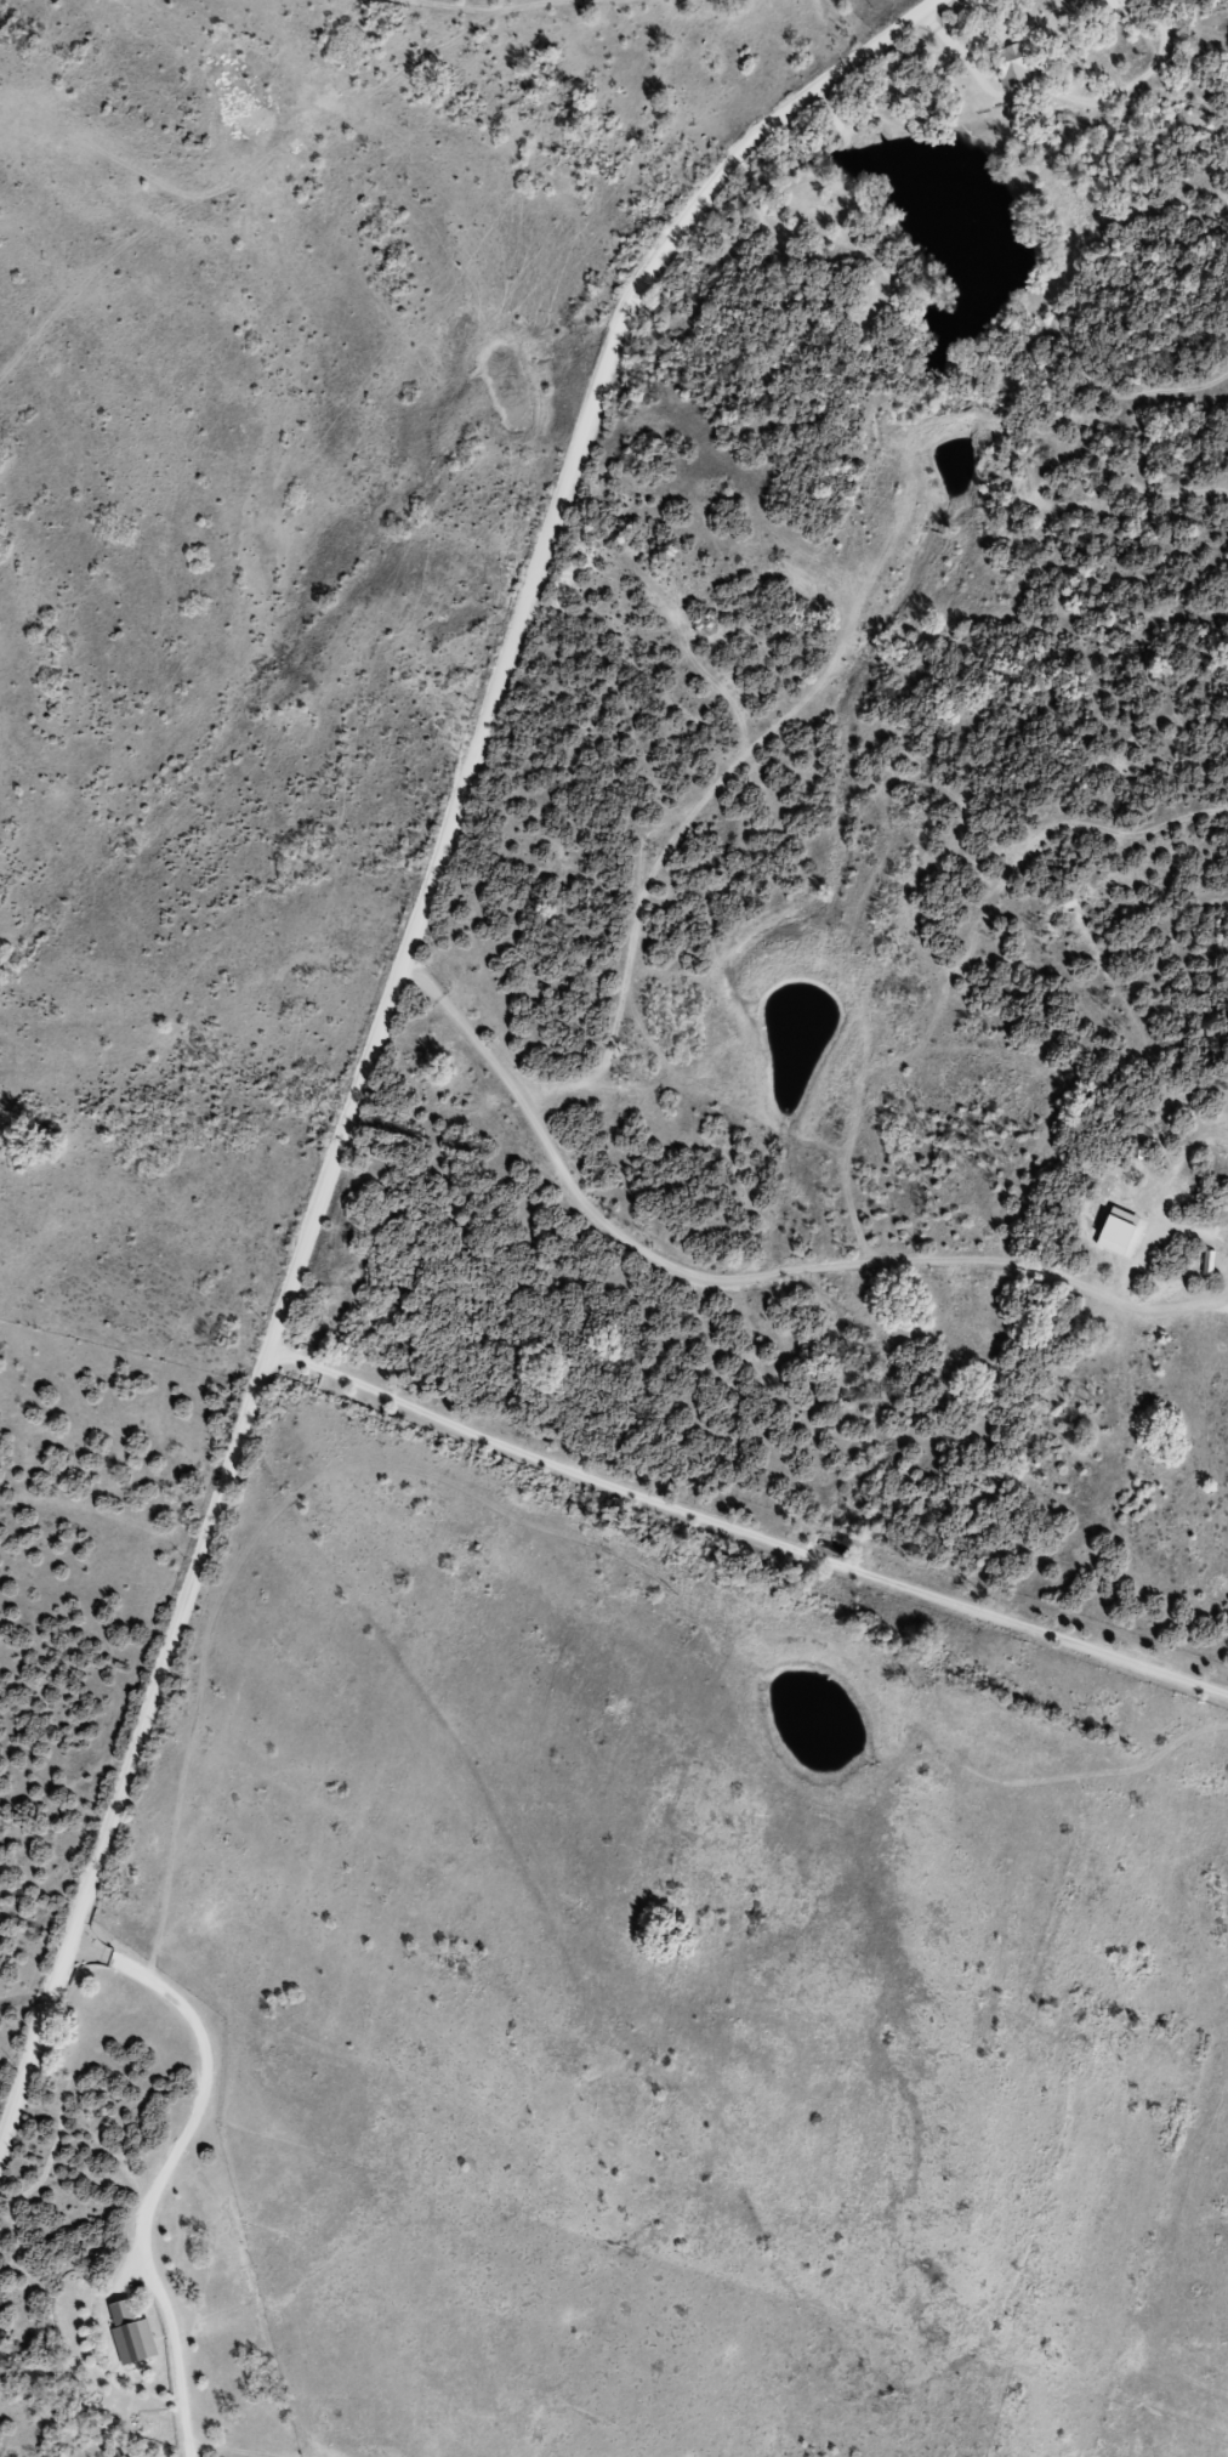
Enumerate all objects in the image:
building: (1017, 64)
road: (394, 1028)
building: (136, 2334)

